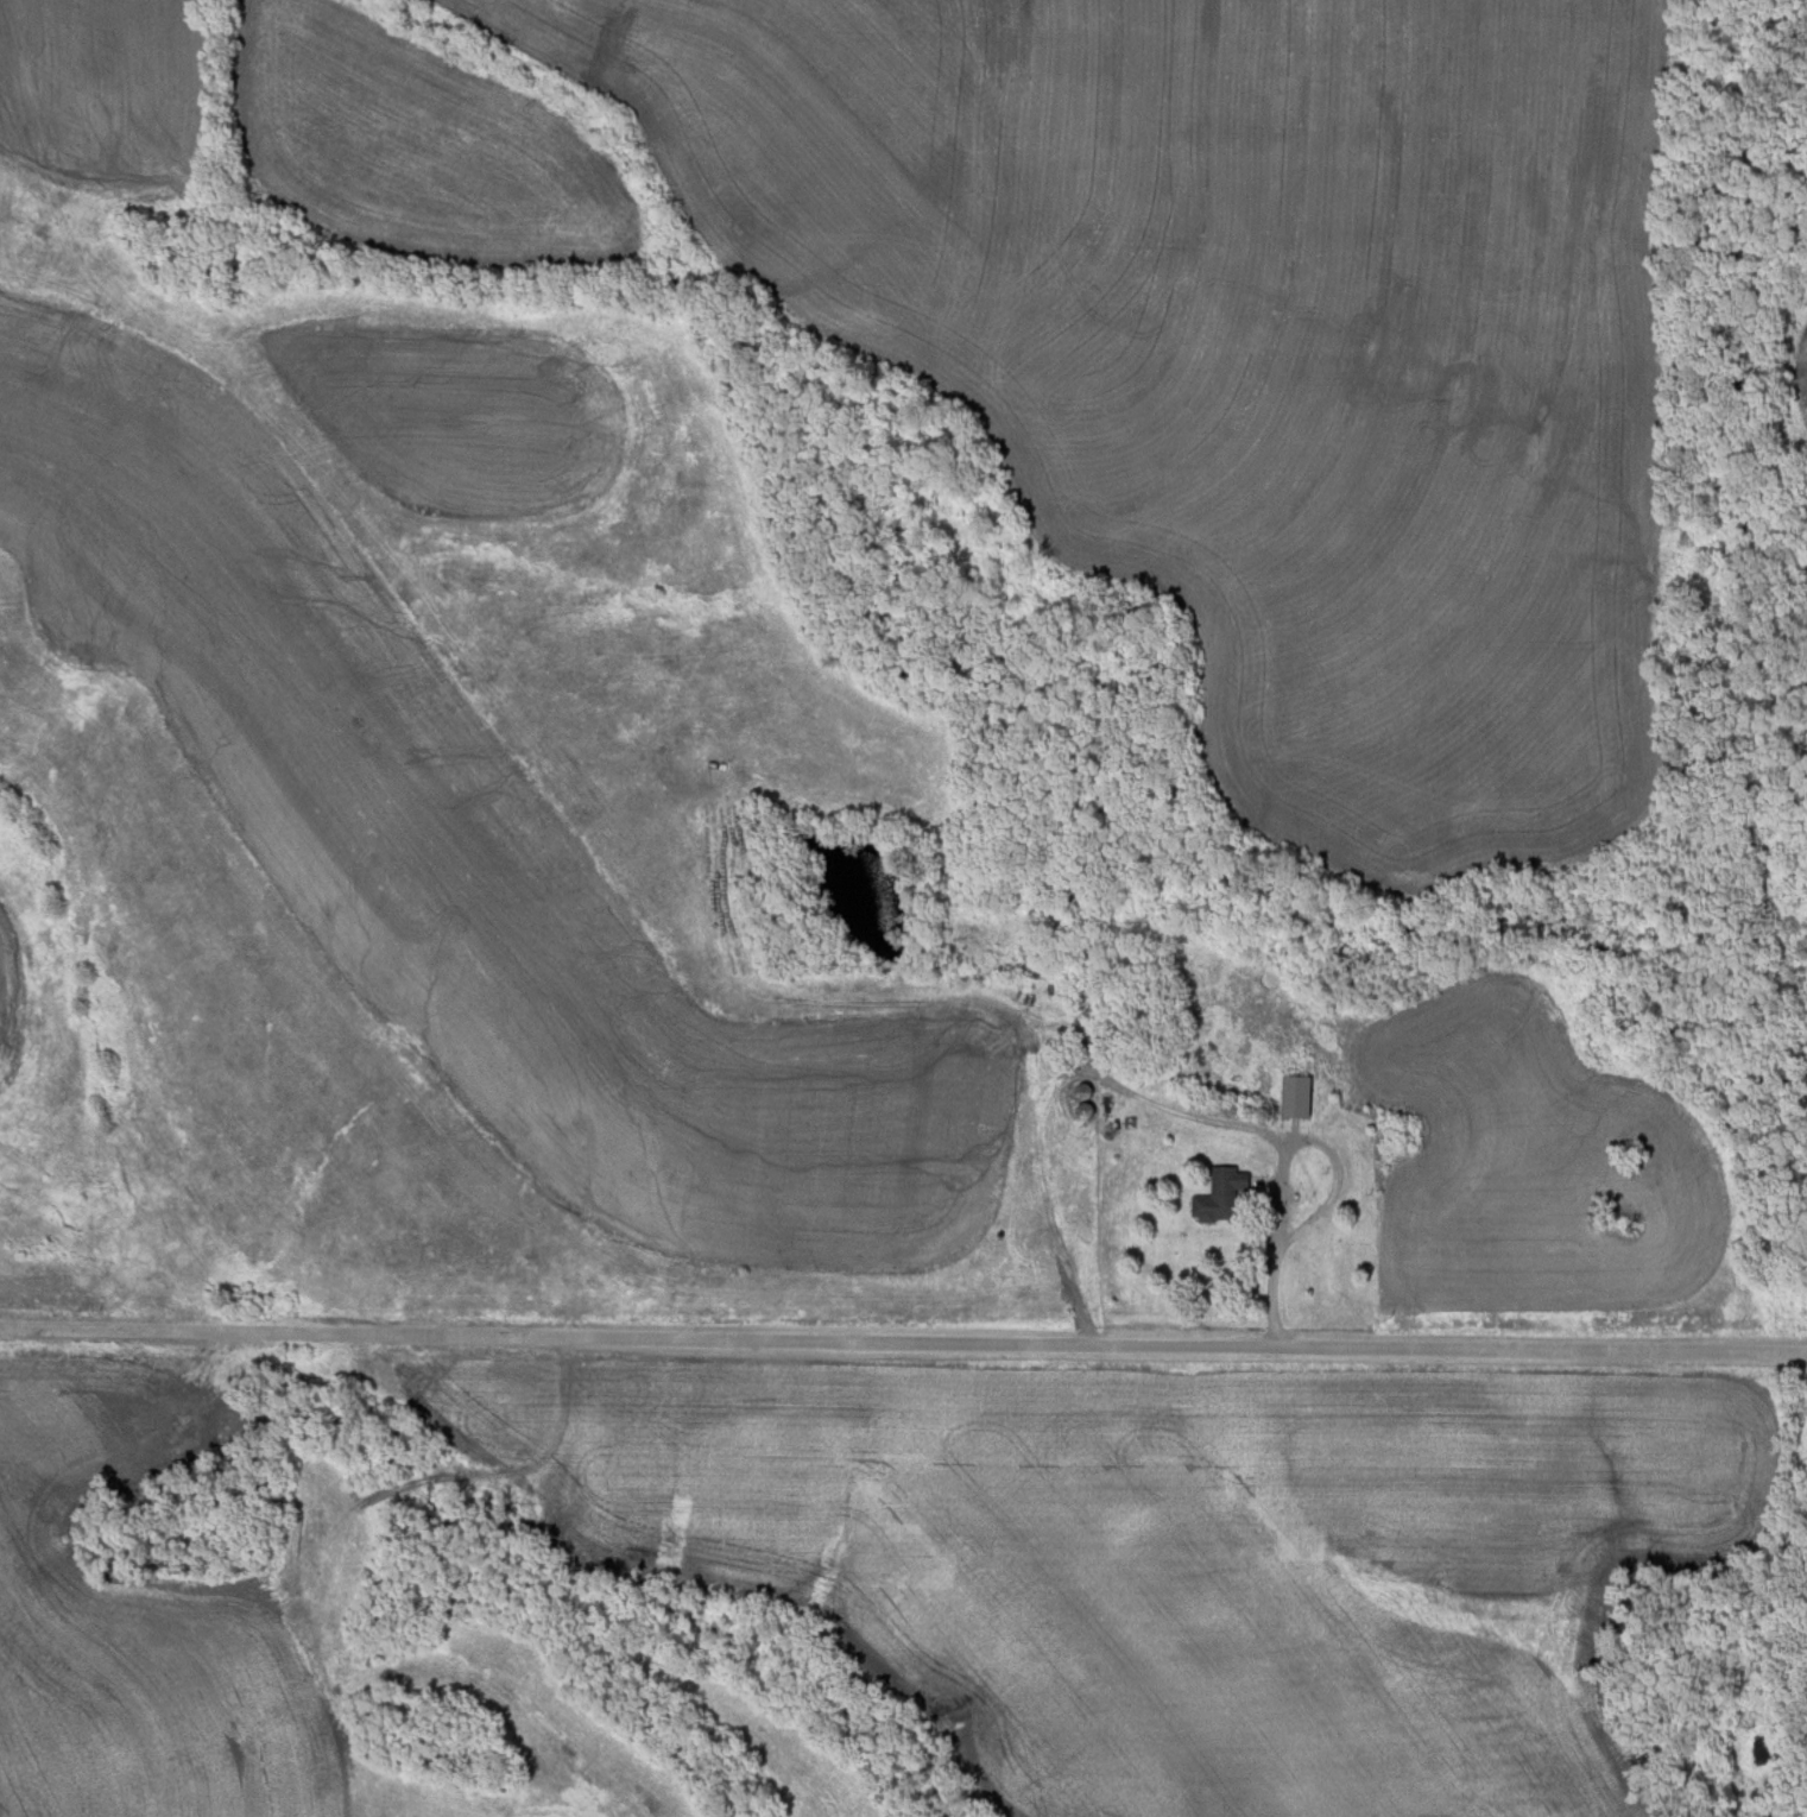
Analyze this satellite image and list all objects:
building: (1078, 1102)
building: (1217, 1195)
road: (903, 1340)

